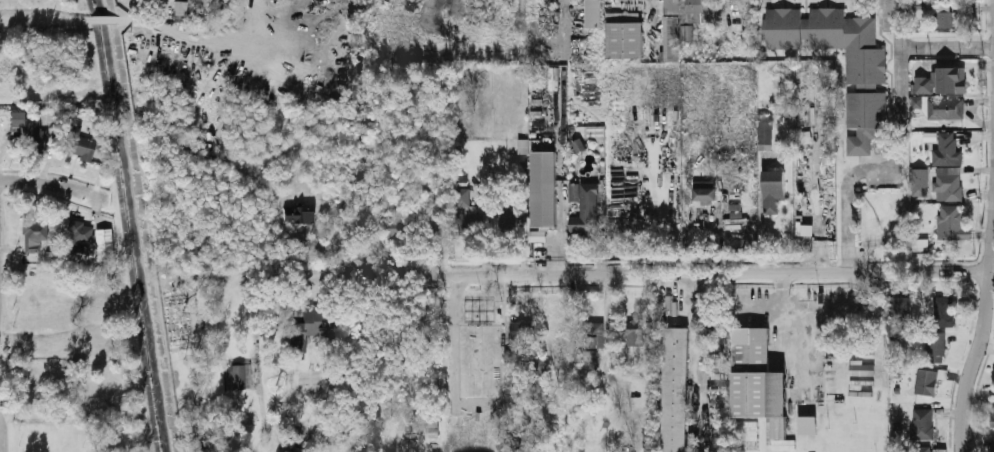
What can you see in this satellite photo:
building: (130, 0)
building: (698, 6)
building: (181, 9)
building: (919, 10)
building: (593, 14)
road: (46, 20)
road: (108, 20)
road: (134, 20)
building: (944, 20)
road: (198, 27)
building: (671, 31)
building: (625, 36)
road: (922, 48)
building: (865, 65)
building: (945, 79)
building: (916, 102)
building: (945, 108)
road: (561, 115)
building: (765, 129)
building: (32, 131)
building: (78, 143)
building: (947, 149)
road: (881, 169)
building: (920, 177)
road: (52, 184)
building: (948, 184)
building: (544, 189)
building: (774, 190)
building: (736, 193)
building: (706, 196)
building: (462, 197)
building: (584, 209)
building: (735, 210)
building: (299, 217)
building: (949, 221)
building: (397, 223)
river: (142, 225)
building: (804, 230)
building: (34, 235)
building: (79, 236)
building: (103, 245)
building: (920, 245)
road: (350, 274)
road: (690, 274)
building: (900, 310)
building: (942, 312)
road: (815, 313)
building: (317, 325)
building: (522, 329)
building: (635, 333)
building: (593, 335)
building: (455, 337)
road: (14, 341)
building: (935, 347)
road: (974, 351)
building: (562, 353)
building: (510, 356)
building: (590, 363)
building: (537, 367)
building: (239, 378)
building: (758, 380)
building: (926, 382)
building: (675, 389)
building: (566, 396)
building: (993, 407)
building: (922, 423)
building: (807, 425)
building: (513, 444)
building: (993, 445)
building: (923, 450)

